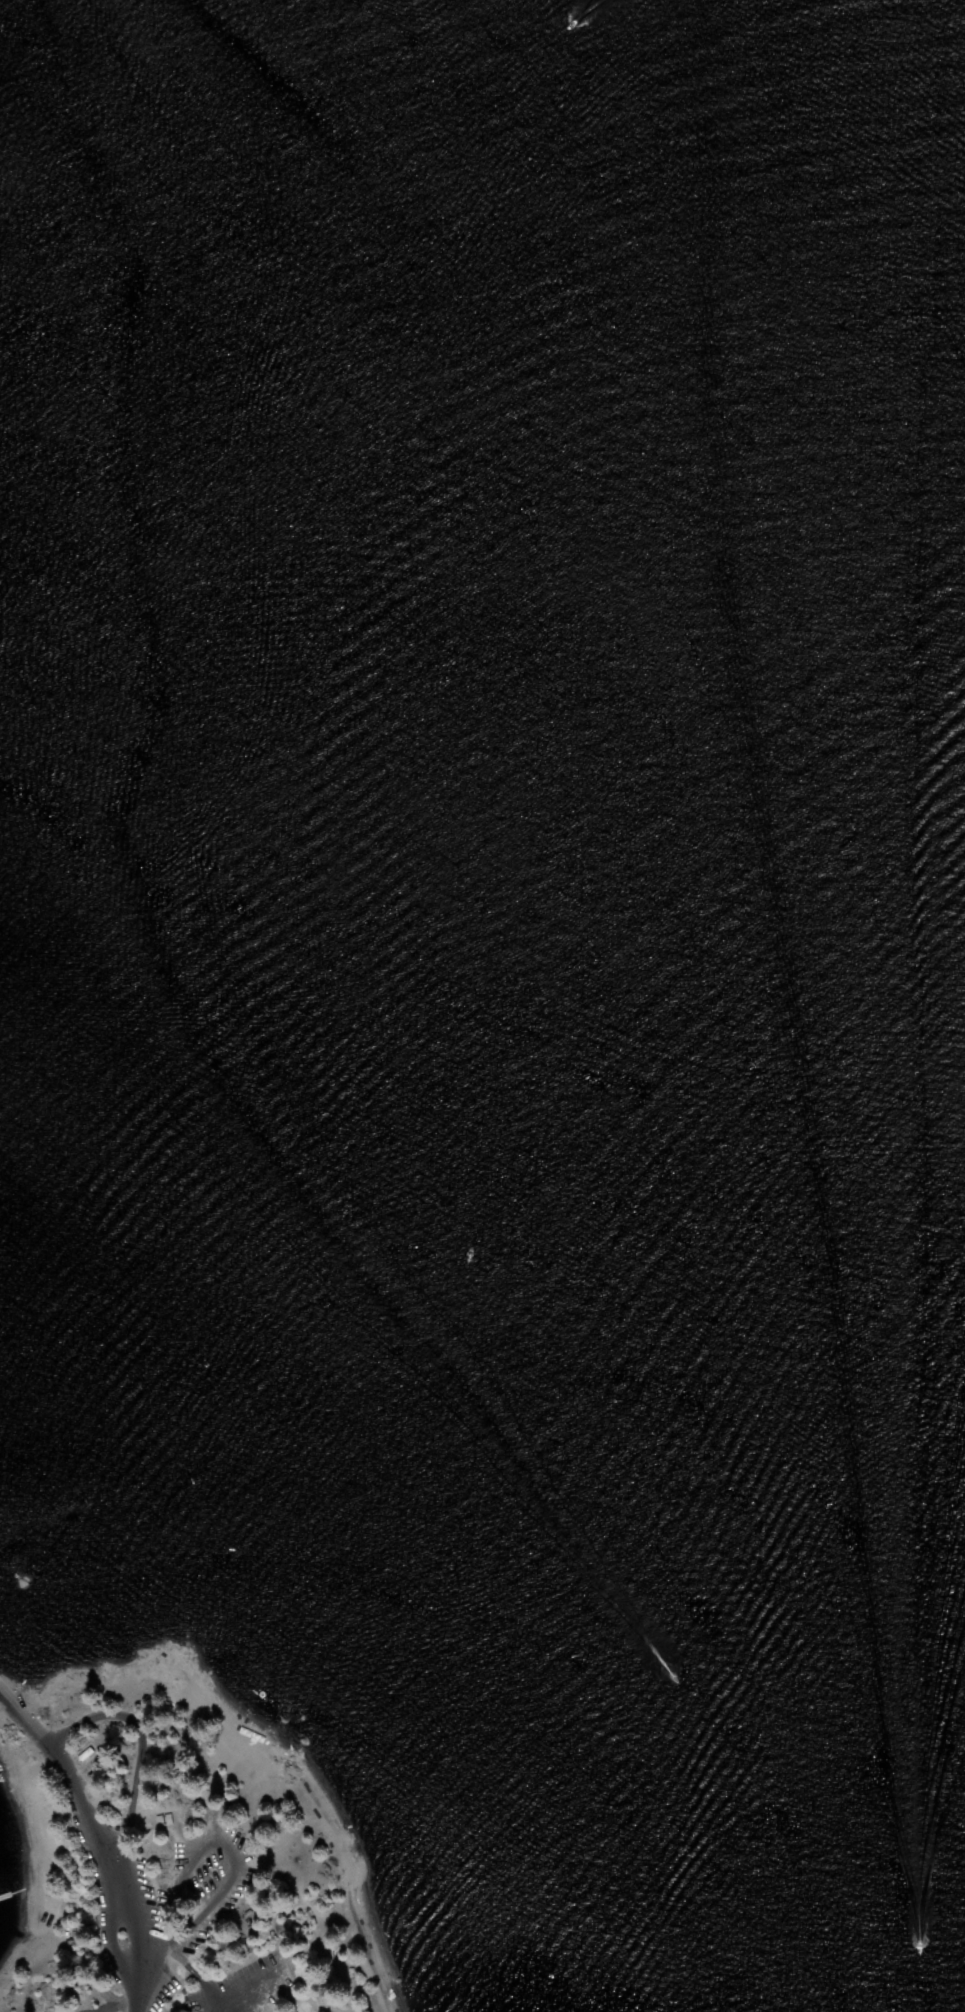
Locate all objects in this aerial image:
road: (9, 1710)
road: (129, 1751)
road: (200, 1846)
road: (94, 1861)
parking lot: (211, 1920)
road: (80, 1944)
road: (192, 1968)

